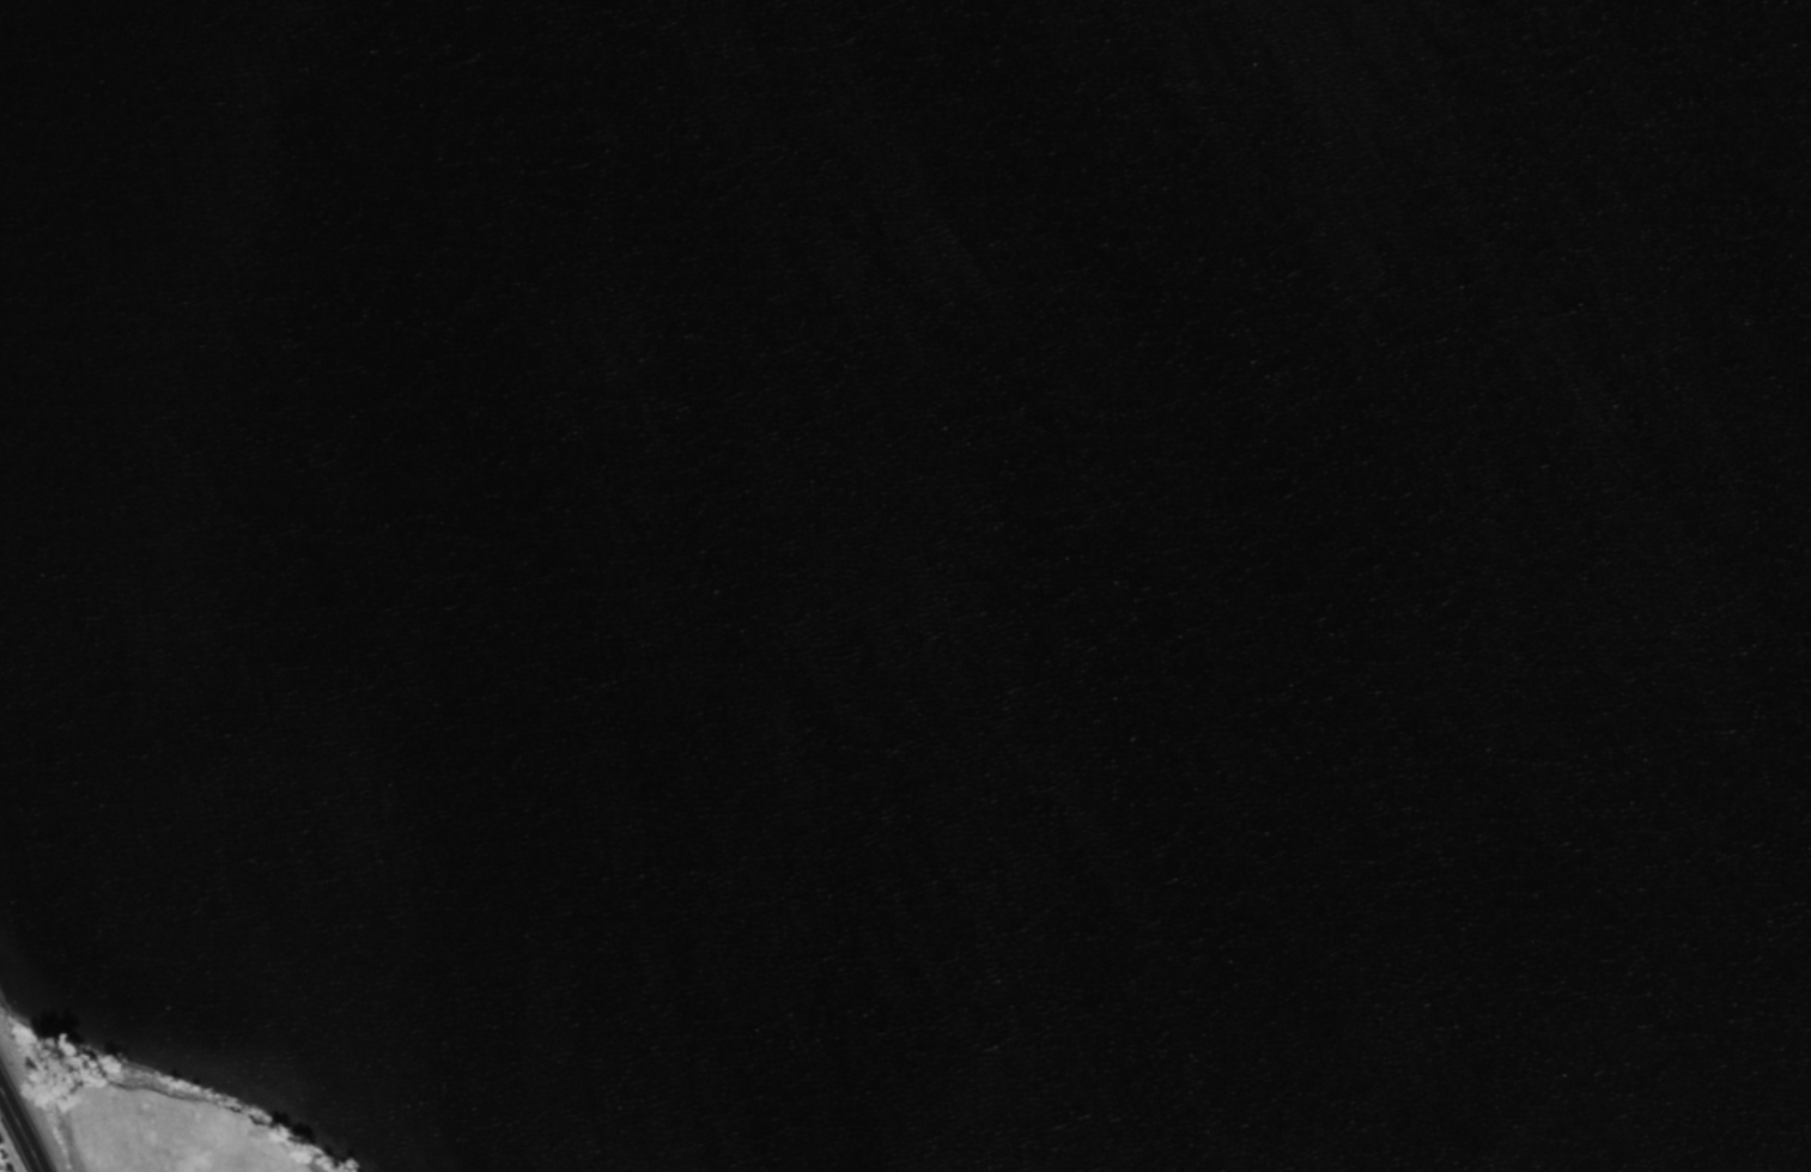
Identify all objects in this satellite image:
road: (25, 1123)

